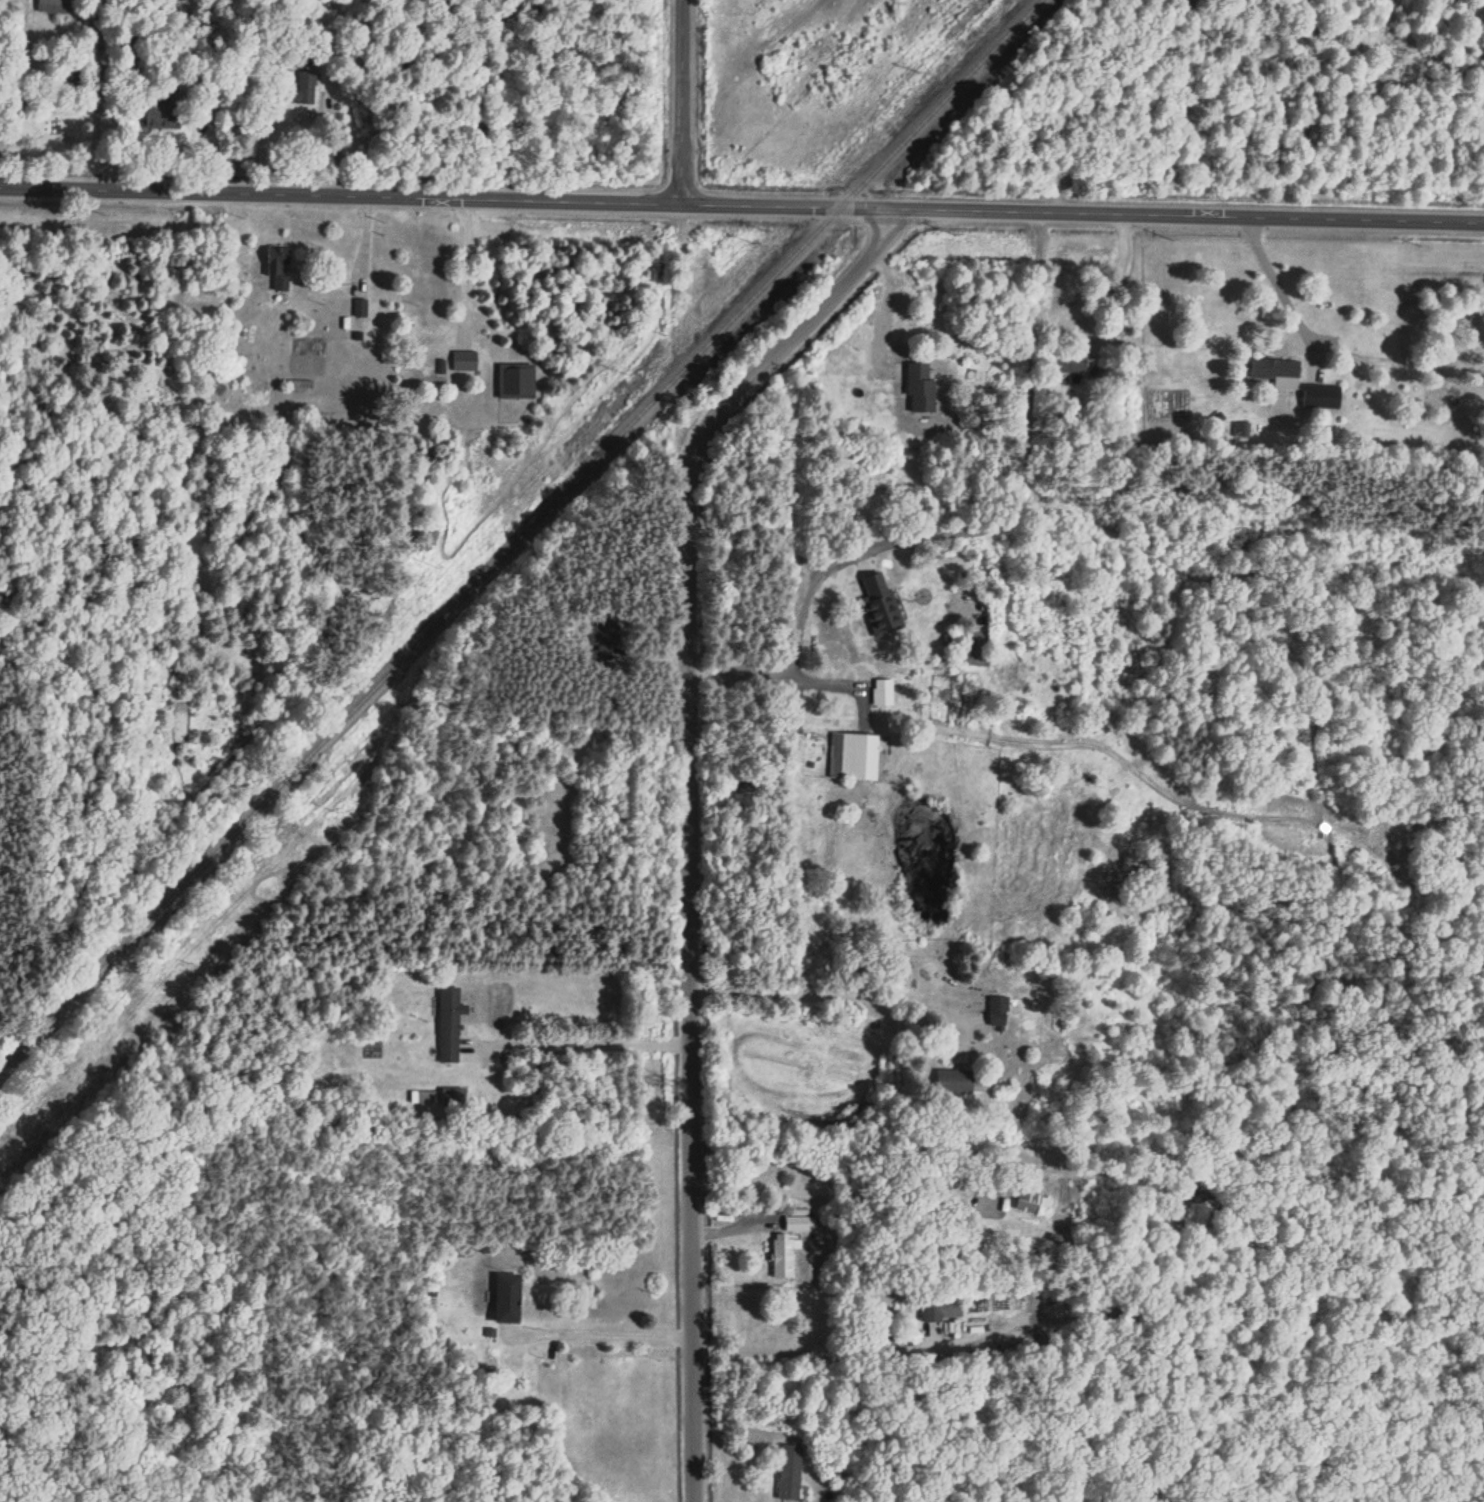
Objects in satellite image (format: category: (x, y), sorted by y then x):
building: (305, 88)
road: (683, 101)
building: (164, 114)
road: (338, 148)
road: (741, 203)
road: (466, 264)
building: (280, 267)
road: (1276, 276)
road: (1111, 283)
road: (883, 300)
building: (467, 360)
building: (1073, 362)
building: (420, 376)
building: (518, 380)
building: (1298, 382)
building: (301, 386)
building: (922, 388)
road: (962, 532)
railway: (520, 537)
building: (882, 604)
building: (605, 632)
road: (837, 682)
building: (884, 691)
building: (855, 755)
road: (680, 806)
road: (822, 980)
building: (1000, 1010)
building: (452, 1023)
building: (872, 1025)
road: (580, 1041)
building: (957, 1081)
building: (427, 1097)
road: (830, 1185)
building: (1033, 1202)
building: (799, 1223)
building: (785, 1257)
building: (509, 1298)
building: (933, 1309)
building: (882, 1324)
road: (599, 1332)
road: (786, 1350)
building: (792, 1471)

